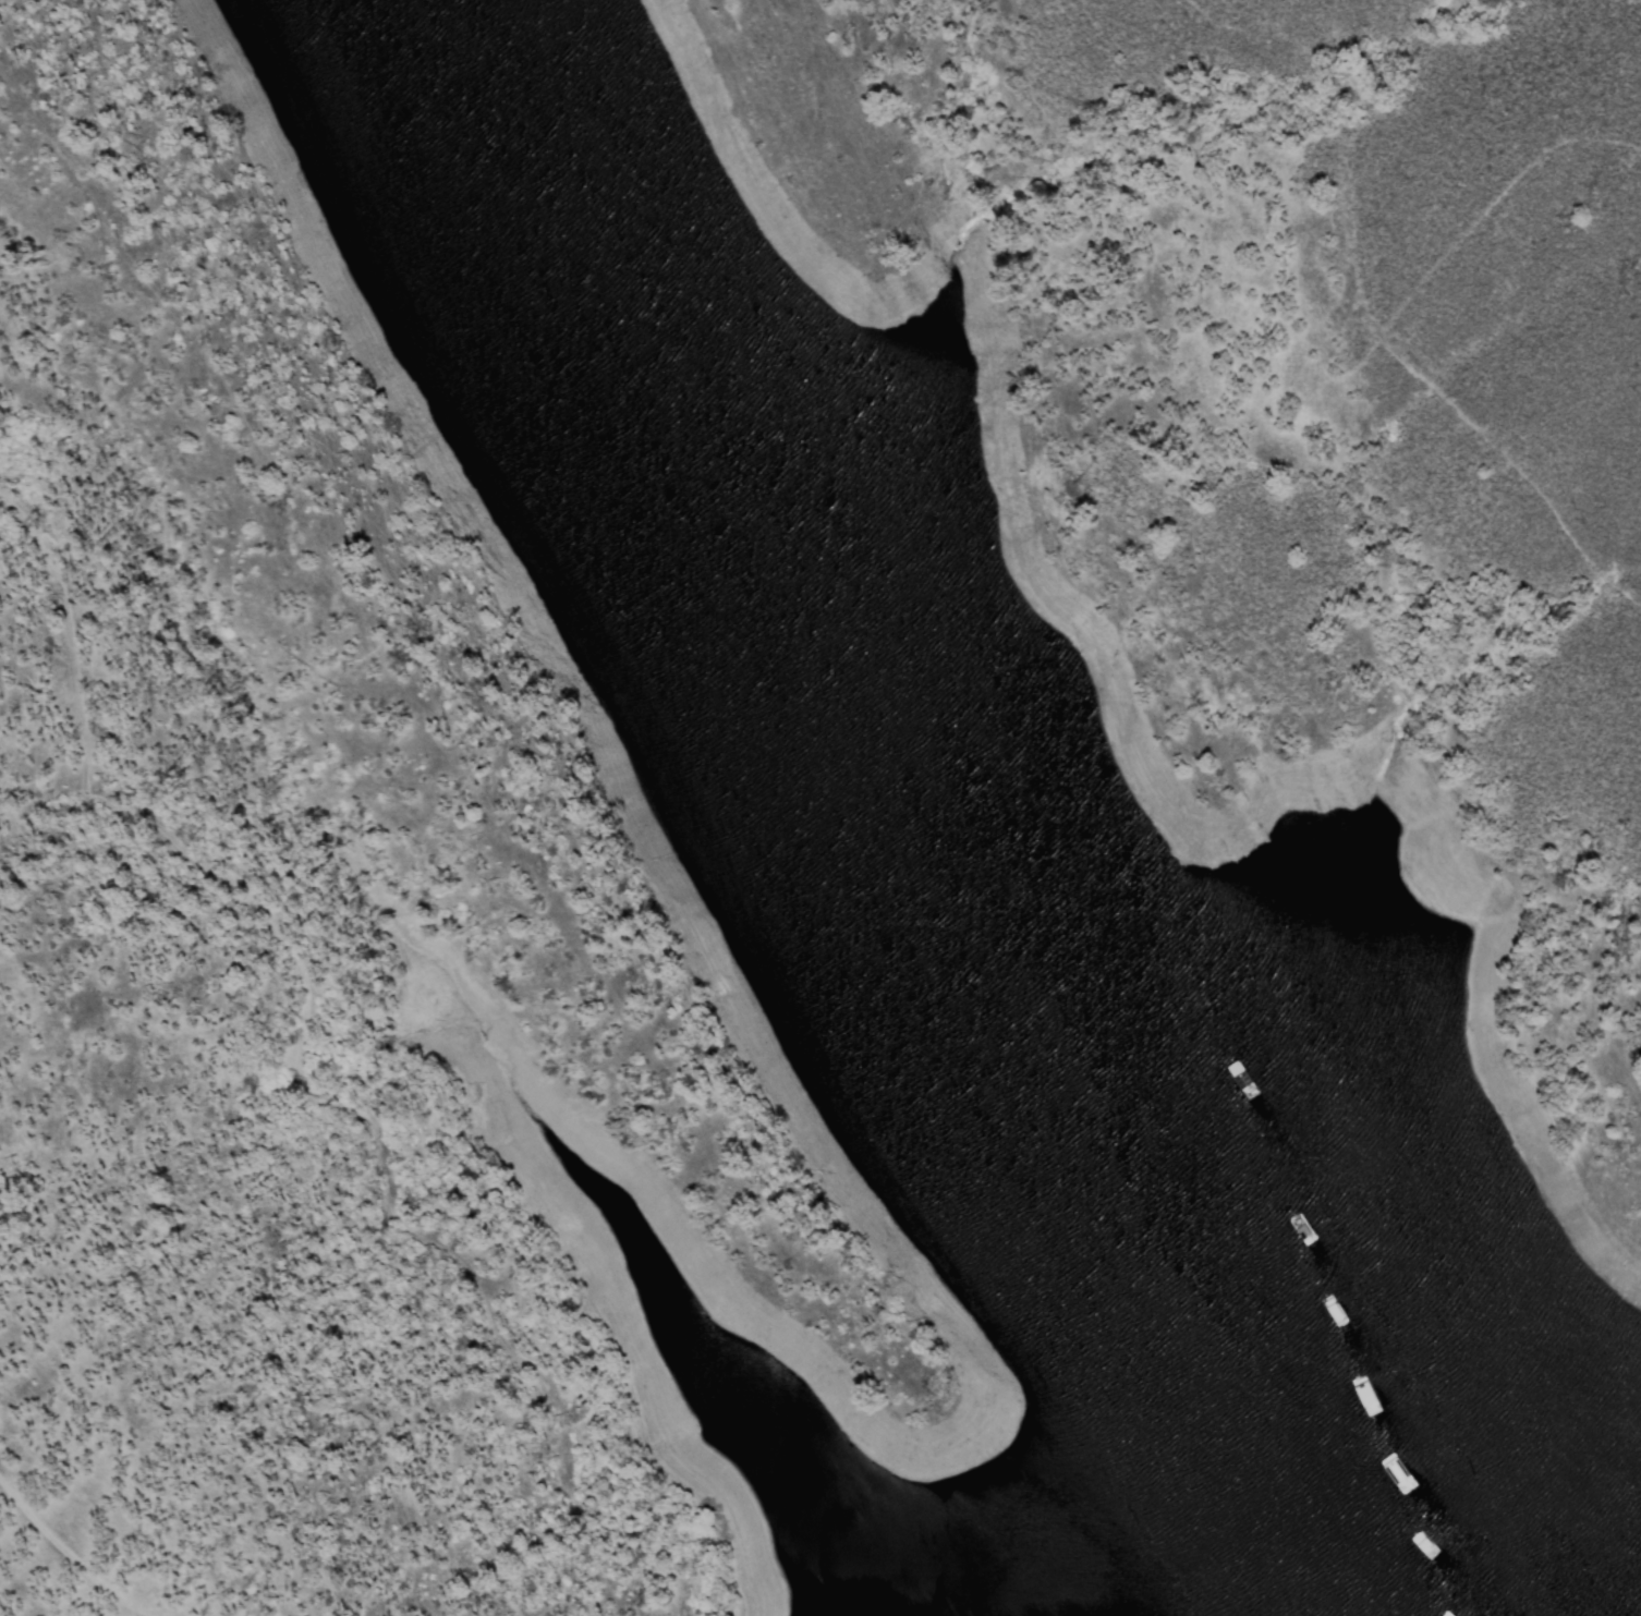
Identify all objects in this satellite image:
building: (1204, 1120)
building: (1239, 1210)

